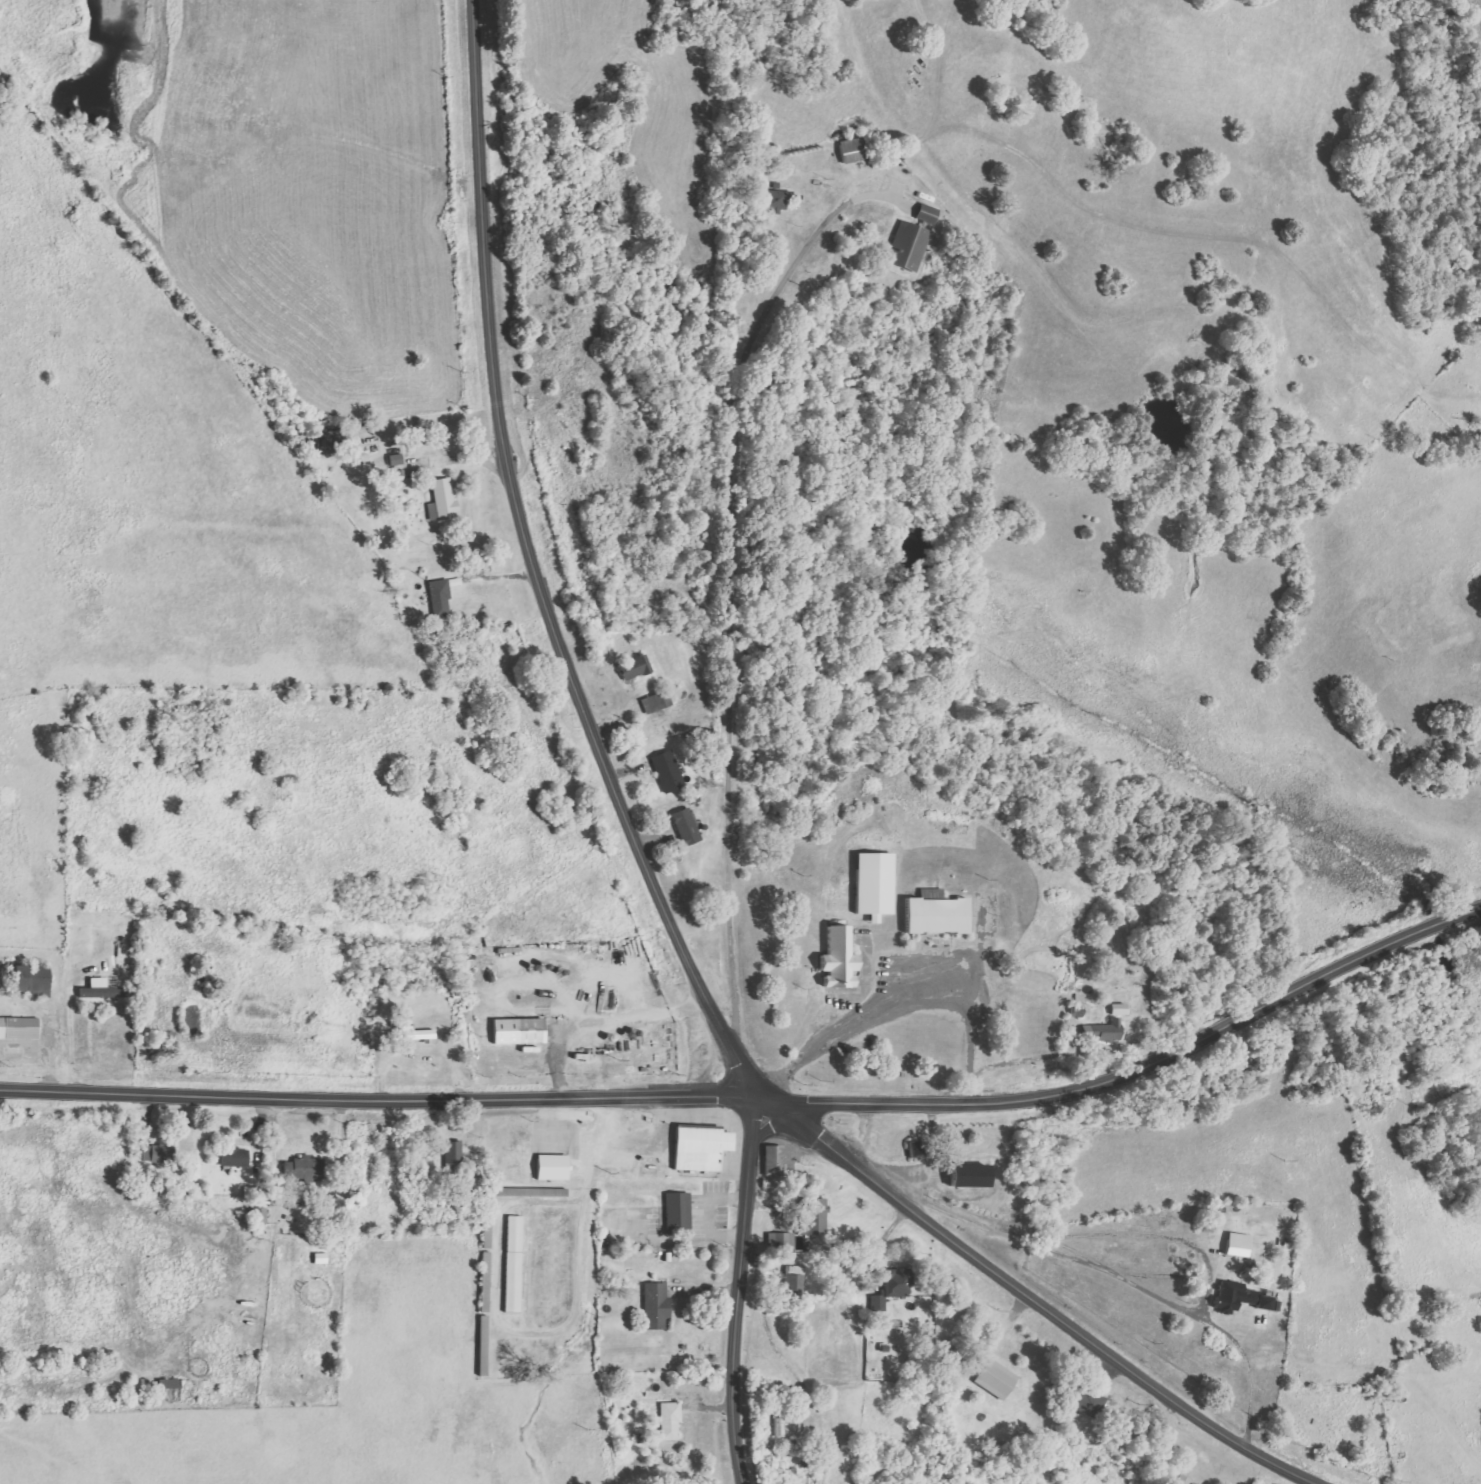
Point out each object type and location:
building: (853, 150)
building: (778, 200)
building: (928, 213)
building: (908, 245)
building: (332, 440)
building: (396, 459)
building: (397, 472)
building: (442, 500)
road: (536, 570)
road: (722, 582)
building: (440, 598)
building: (635, 667)
building: (659, 701)
building: (668, 771)
building: (686, 827)
building: (875, 884)
building: (938, 916)
building: (840, 960)
building: (32, 981)
building: (1119, 1009)
building: (19, 1028)
building: (519, 1031)
building: (1103, 1031)
building: (419, 1035)
road: (1136, 1073)
road: (380, 1094)
building: (701, 1148)
building: (918, 1149)
building: (453, 1152)
building: (159, 1154)
building: (234, 1157)
building: (774, 1161)
building: (553, 1167)
building: (304, 1168)
building: (971, 1176)
building: (544, 1193)
building: (678, 1211)
building: (813, 1217)
building: (781, 1241)
building: (1238, 1245)
building: (514, 1264)
building: (794, 1282)
building: (893, 1287)
road: (740, 1292)
building: (1240, 1297)
road: (1033, 1299)
building: (656, 1306)
building: (996, 1380)
building: (171, 1384)
building: (1088, 1403)
building: (670, 1421)
building: (775, 1429)
building: (1183, 1480)
building: (1192, 1483)

